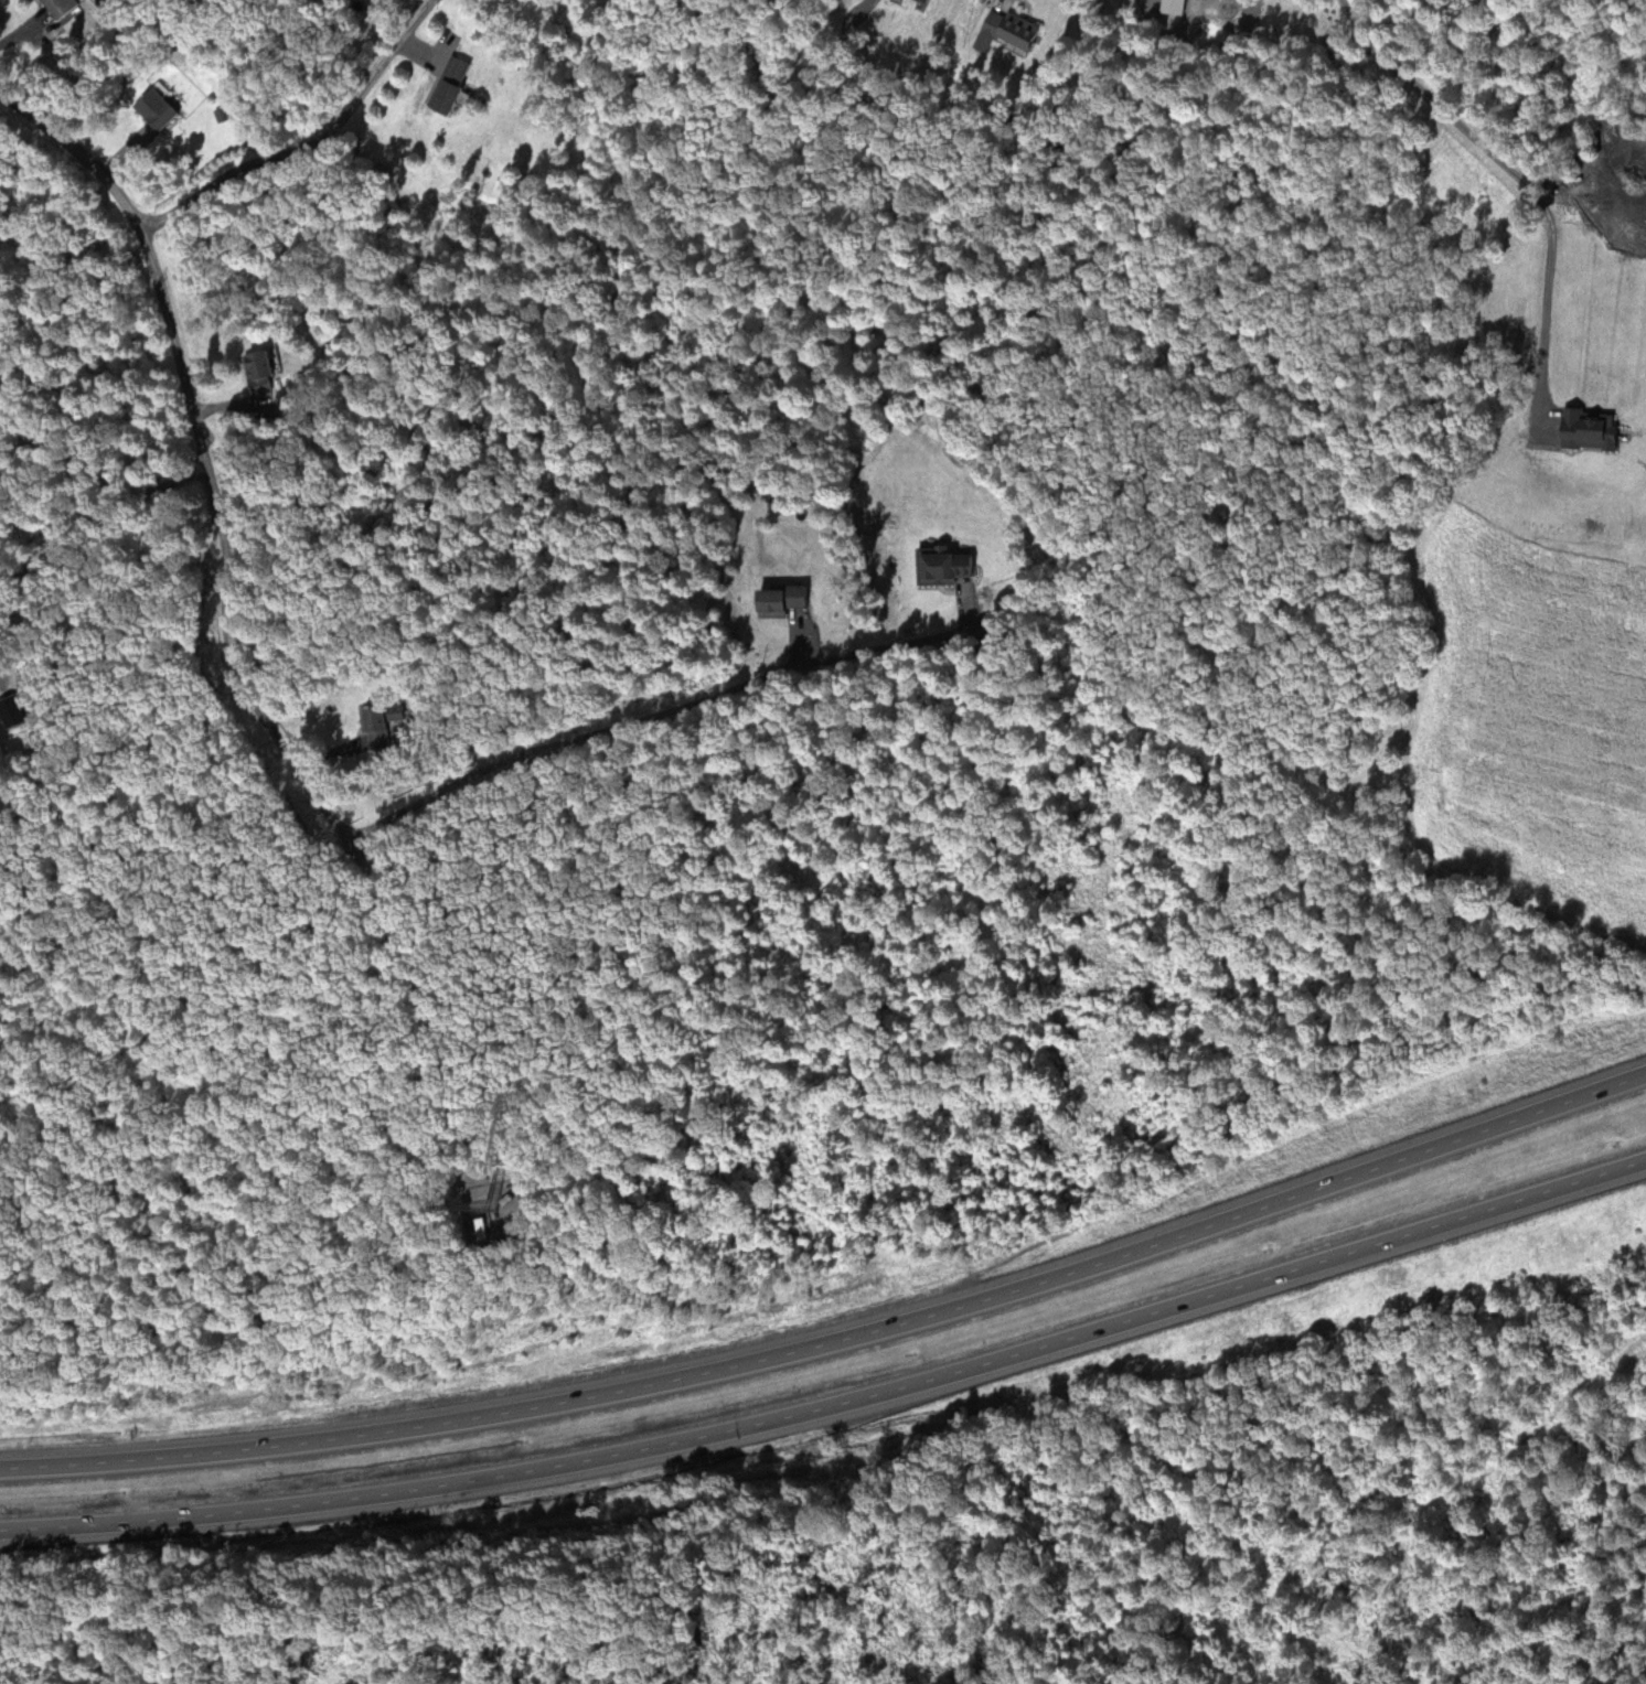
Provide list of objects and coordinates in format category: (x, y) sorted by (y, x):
building: (58, 7)
building: (1017, 28)
building: (455, 81)
building: (161, 107)
building: (225, 110)
building: (265, 373)
building: (948, 565)
building: (787, 599)
building: (4, 711)
building: (383, 728)
road: (838, 1345)
road: (840, 1412)
road: (3, 1536)

